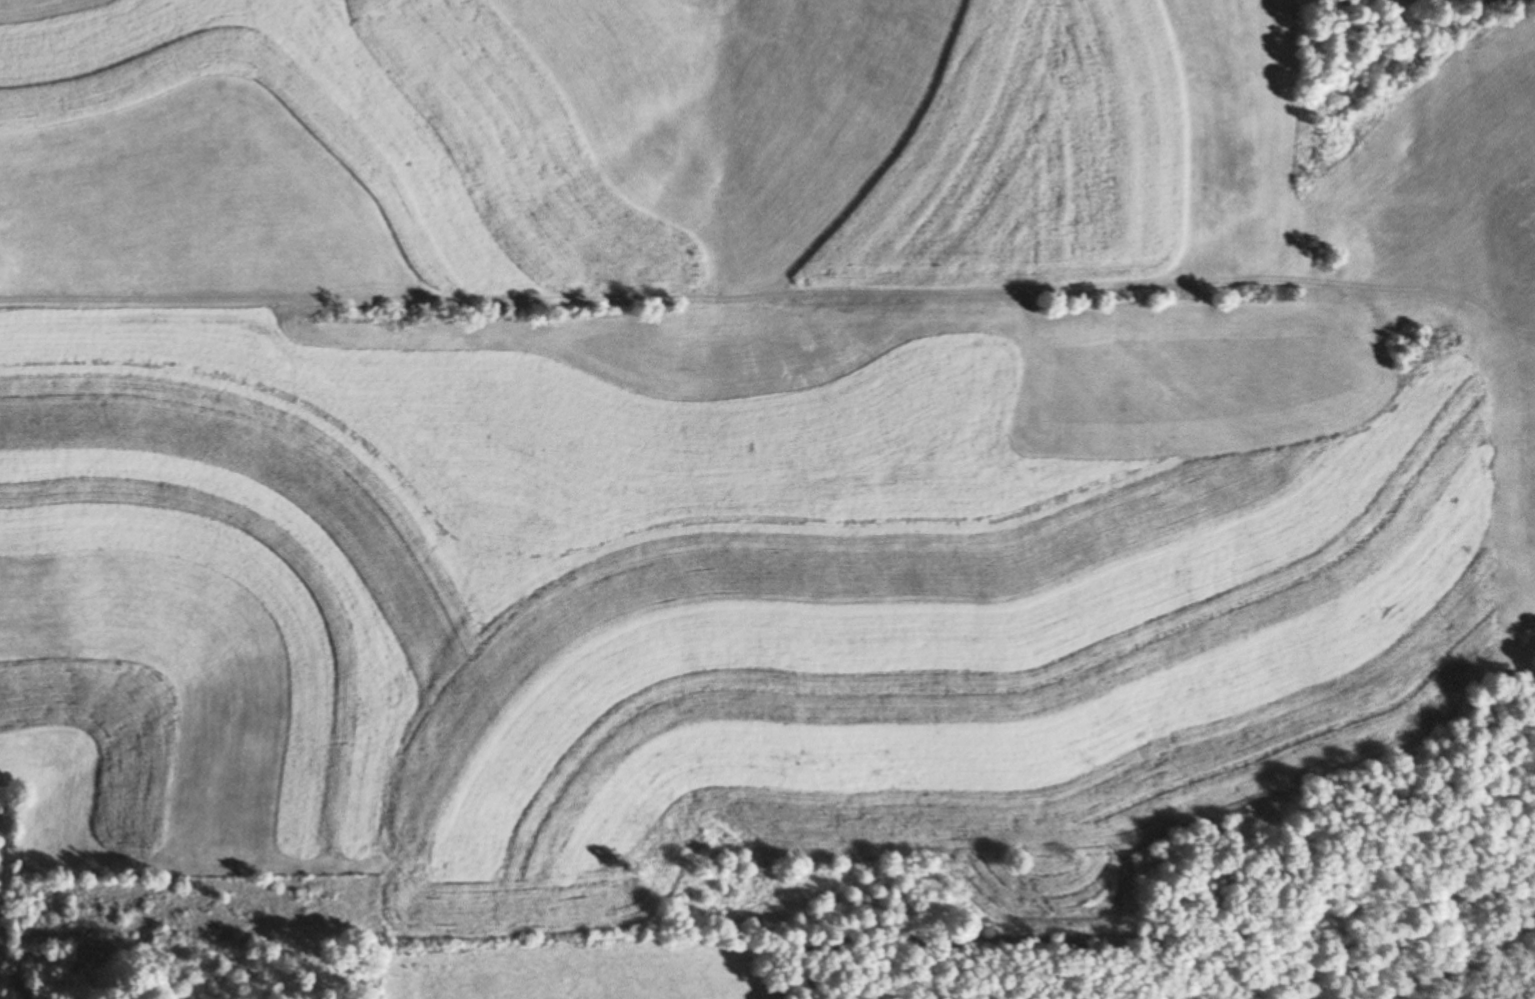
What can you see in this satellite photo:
crop: (645, 148)
crop: (772, 558)
crop: (566, 964)

